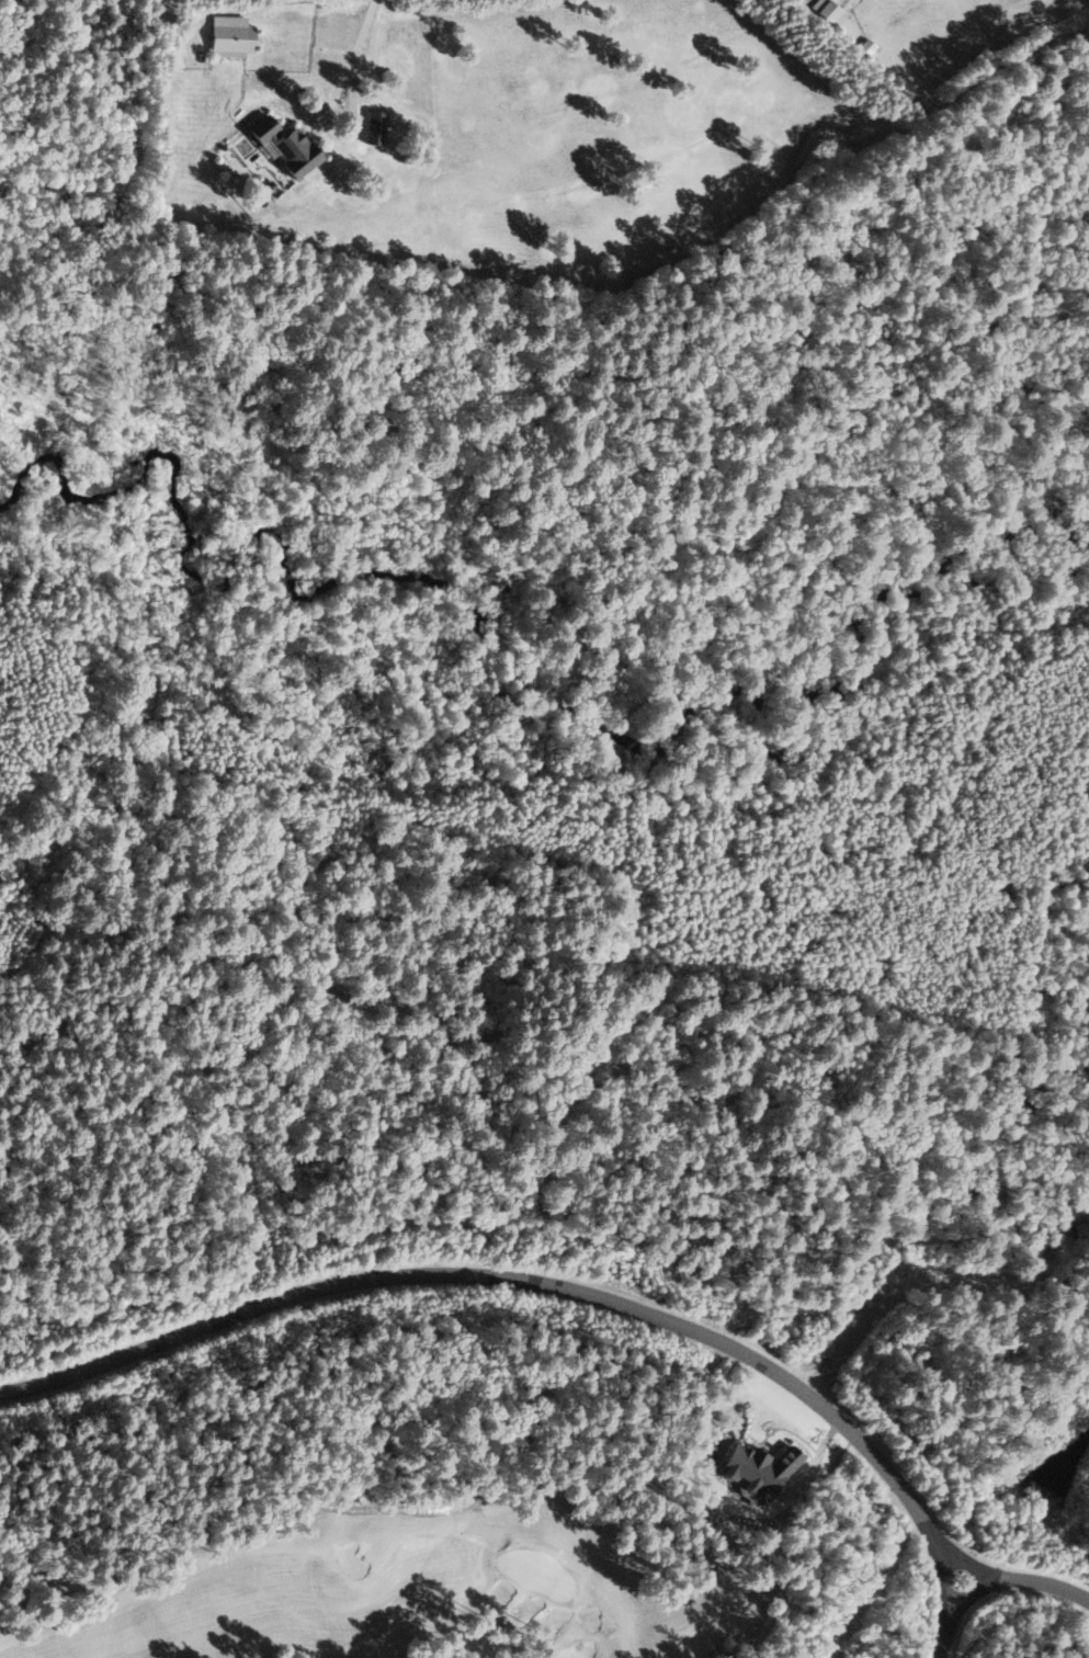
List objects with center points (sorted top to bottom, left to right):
building: (827, 11)
building: (228, 35)
building: (864, 46)
road: (355, 49)
building: (283, 145)
road: (494, 1277)
building: (753, 1469)
road: (937, 1543)
road: (927, 1551)
road: (982, 1570)
road: (967, 1572)
park: (413, 1582)
road: (984, 1583)
road: (1046, 1588)
road: (934, 1612)
road: (945, 1617)
road: (929, 1648)

